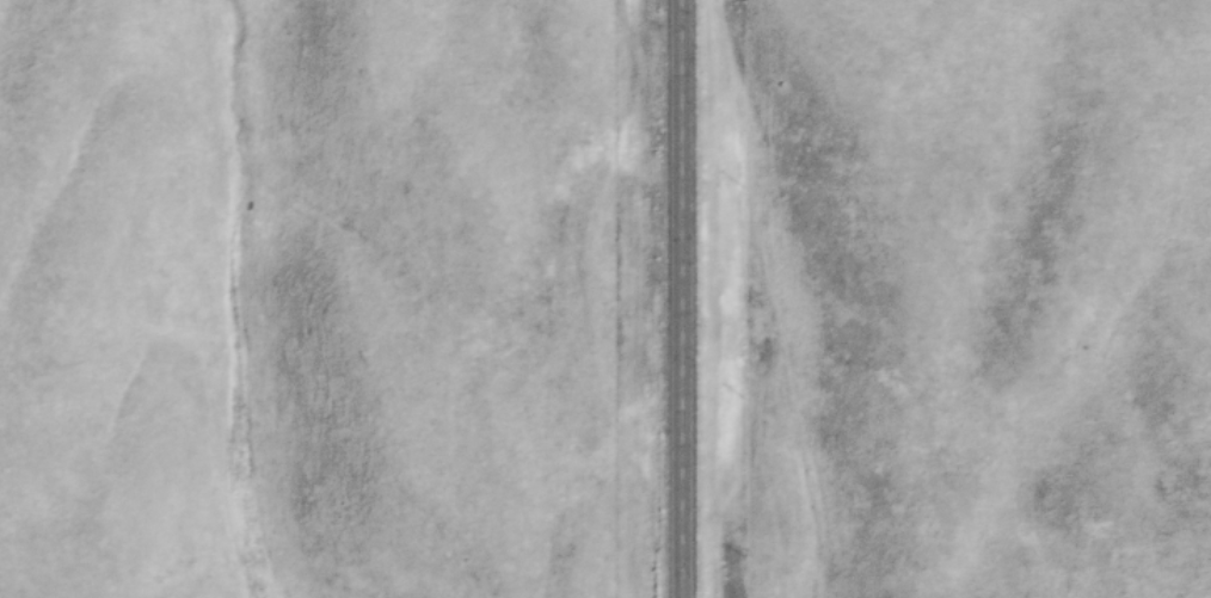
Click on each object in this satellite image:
road: (677, 298)

